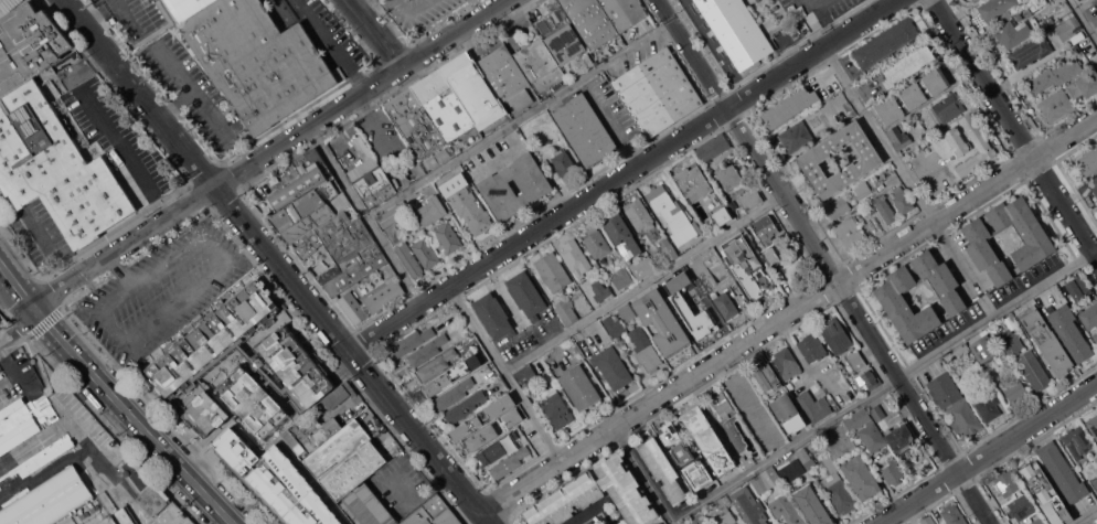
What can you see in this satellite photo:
building: (972, 0)
building: (976, 1)
road: (359, 2)
road: (1082, 3)
road: (94, 7)
building: (188, 8)
building: (995, 8)
building: (1062, 10)
road: (413, 11)
road: (125, 12)
road: (821, 14)
building: (605, 19)
road: (1084, 20)
building: (1068, 29)
building: (735, 30)
road: (375, 33)
building: (1012, 33)
building: (560, 35)
building: (886, 43)
building: (28, 45)
road: (332, 45)
building: (1031, 52)
building: (467, 57)
building: (259, 61)
building: (539, 62)
building: (908, 64)
building: (1054, 76)
building: (507, 77)
road: (187, 84)
building: (1084, 85)
building: (657, 93)
building: (915, 95)
building: (483, 103)
building: (790, 106)
building: (1057, 106)
road: (205, 109)
building: (949, 109)
building: (430, 111)
road: (519, 119)
road: (611, 122)
road: (376, 127)
road: (1015, 127)
building: (585, 129)
building: (484, 130)
building: (976, 133)
road: (877, 135)
building: (796, 137)
building: (898, 138)
building: (957, 141)
building: (713, 148)
road: (504, 152)
road: (126, 153)
road: (268, 153)
building: (811, 159)
building: (1088, 162)
building: (564, 164)
building: (56, 169)
building: (370, 175)
road: (622, 177)
building: (303, 178)
building: (728, 178)
building: (693, 180)
building: (1096, 180)
building: (535, 186)
building: (863, 189)
building: (897, 189)
building: (1095, 190)
building: (750, 199)
building: (878, 200)
building: (903, 201)
building: (467, 203)
building: (838, 206)
building: (721, 207)
building: (433, 210)
building: (886, 212)
building: (307, 214)
building: (639, 214)
building: (672, 214)
road: (365, 215)
building: (390, 217)
building: (765, 228)
building: (851, 233)
building: (395, 235)
building: (448, 236)
building: (622, 236)
building: (1037, 240)
building: (597, 243)
building: (668, 248)
building: (344, 252)
building: (426, 253)
building: (773, 255)
building: (576, 258)
building: (409, 260)
road: (824, 260)
building: (700, 261)
road: (276, 264)
building: (747, 266)
building: (642, 267)
road: (119, 271)
building: (553, 271)
building: (622, 278)
road: (646, 284)
building: (1078, 286)
road: (17, 287)
building: (600, 290)
parking lot: (162, 292)
building: (526, 295)
building: (890, 296)
road: (191, 297)
building: (371, 301)
building: (725, 302)
building: (566, 312)
building: (627, 313)
road: (788, 313)
building: (494, 316)
building: (518, 317)
building: (1089, 317)
building: (0, 319)
building: (663, 322)
building: (697, 322)
road: (18, 327)
building: (615, 327)
building: (1071, 333)
building: (837, 335)
building: (1095, 336)
building: (212, 338)
building: (1010, 339)
building: (1046, 340)
building: (413, 341)
building: (812, 347)
building: (645, 350)
building: (984, 350)
building: (427, 351)
building: (855, 360)
building: (787, 363)
building: (437, 364)
building: (291, 368)
building: (613, 368)
road: (11, 370)
building: (1034, 371)
road: (505, 372)
building: (525, 373)
building: (452, 375)
building: (768, 378)
building: (866, 379)
building: (579, 387)
building: (1014, 391)
building: (454, 394)
building: (339, 395)
building: (832, 399)
building: (986, 402)
building: (955, 403)
building: (237, 405)
building: (813, 406)
building: (464, 407)
building: (724, 408)
building: (558, 410)
building: (788, 414)
road: (839, 416)
road: (134, 417)
building: (513, 417)
building: (748, 418)
building: (856, 419)
building: (475, 421)
building: (1093, 425)
building: (670, 434)
building: (311, 435)
building: (481, 437)
building: (872, 437)
building: (899, 438)
building: (709, 439)
building: (769, 439)
building: (839, 442)
building: (1077, 442)
building: (498, 448)
building: (119, 451)
building: (682, 453)
road: (989, 453)
building: (807, 458)
building: (345, 460)
building: (746, 461)
building: (509, 462)
building: (830, 463)
building: (663, 470)
building: (791, 470)
building: (893, 471)
building: (1062, 472)
building: (697, 473)
building: (861, 477)
building: (765, 479)
building: (275, 480)
building: (1007, 482)
building: (1094, 483)
building: (839, 493)
building: (1046, 493)
building: (597, 495)
building: (743, 496)
building: (153, 499)
building: (362, 502)
building: (812, 505)
building: (1021, 506)
building: (786, 510)
building: (722, 511)
building: (434, 513)
building: (954, 514)
building: (379, 516)
road: (583, 516)
building: (119, 517)
building: (699, 518)
building: (756, 518)
road: (1088, 518)
building: (928, 520)
building: (1039, 521)

